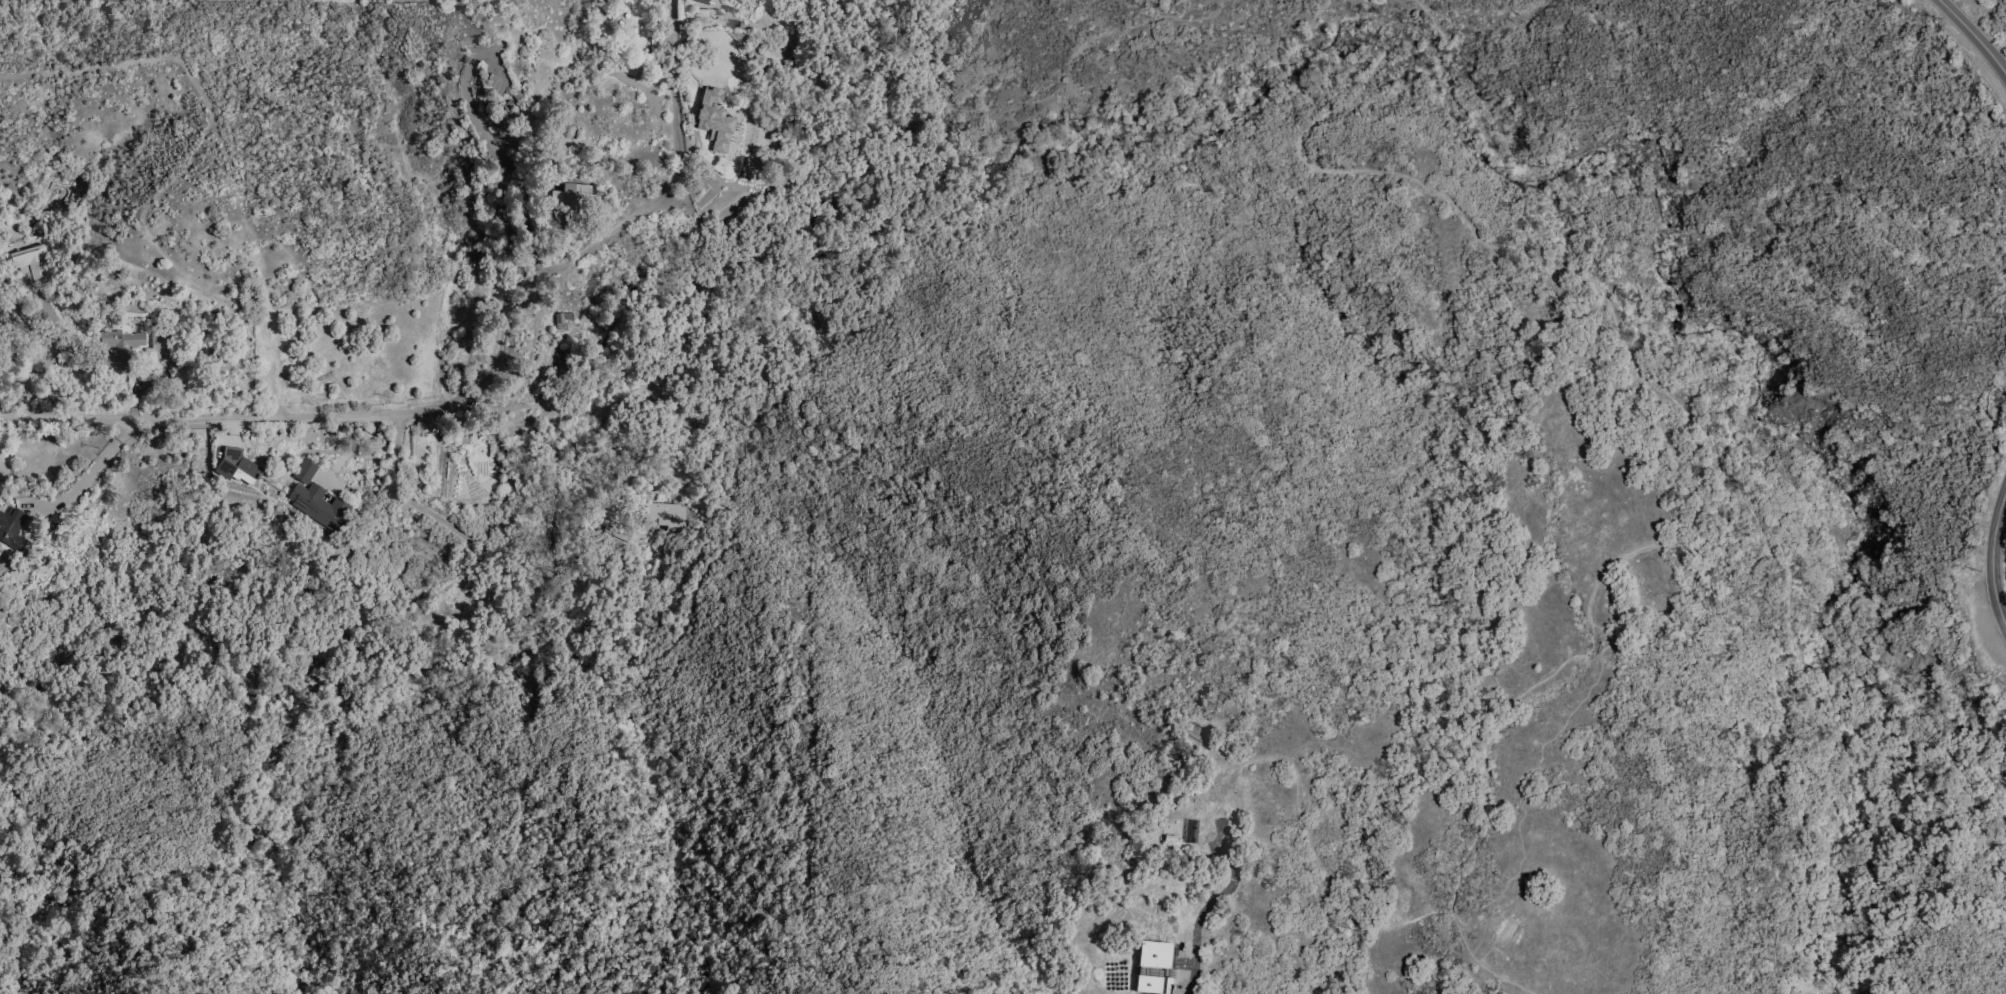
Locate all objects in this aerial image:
road: (1189, 9)
road: (1471, 12)
road: (1130, 28)
road: (1972, 37)
building: (631, 69)
road: (674, 91)
building: (716, 120)
road: (486, 141)
building: (573, 200)
road: (1466, 224)
road: (615, 237)
building: (33, 263)
building: (163, 345)
building: (121, 350)
road: (501, 352)
building: (560, 364)
building: (40, 382)
road: (69, 417)
road: (285, 422)
building: (236, 468)
building: (306, 472)
road: (91, 485)
building: (320, 506)
road: (439, 518)
building: (670, 518)
building: (51, 524)
building: (12, 529)
road: (1631, 553)
road: (1991, 560)
road: (1520, 797)
road: (1306, 835)
road: (1519, 881)
road: (1474, 894)
road: (1210, 905)
building: (1154, 967)

